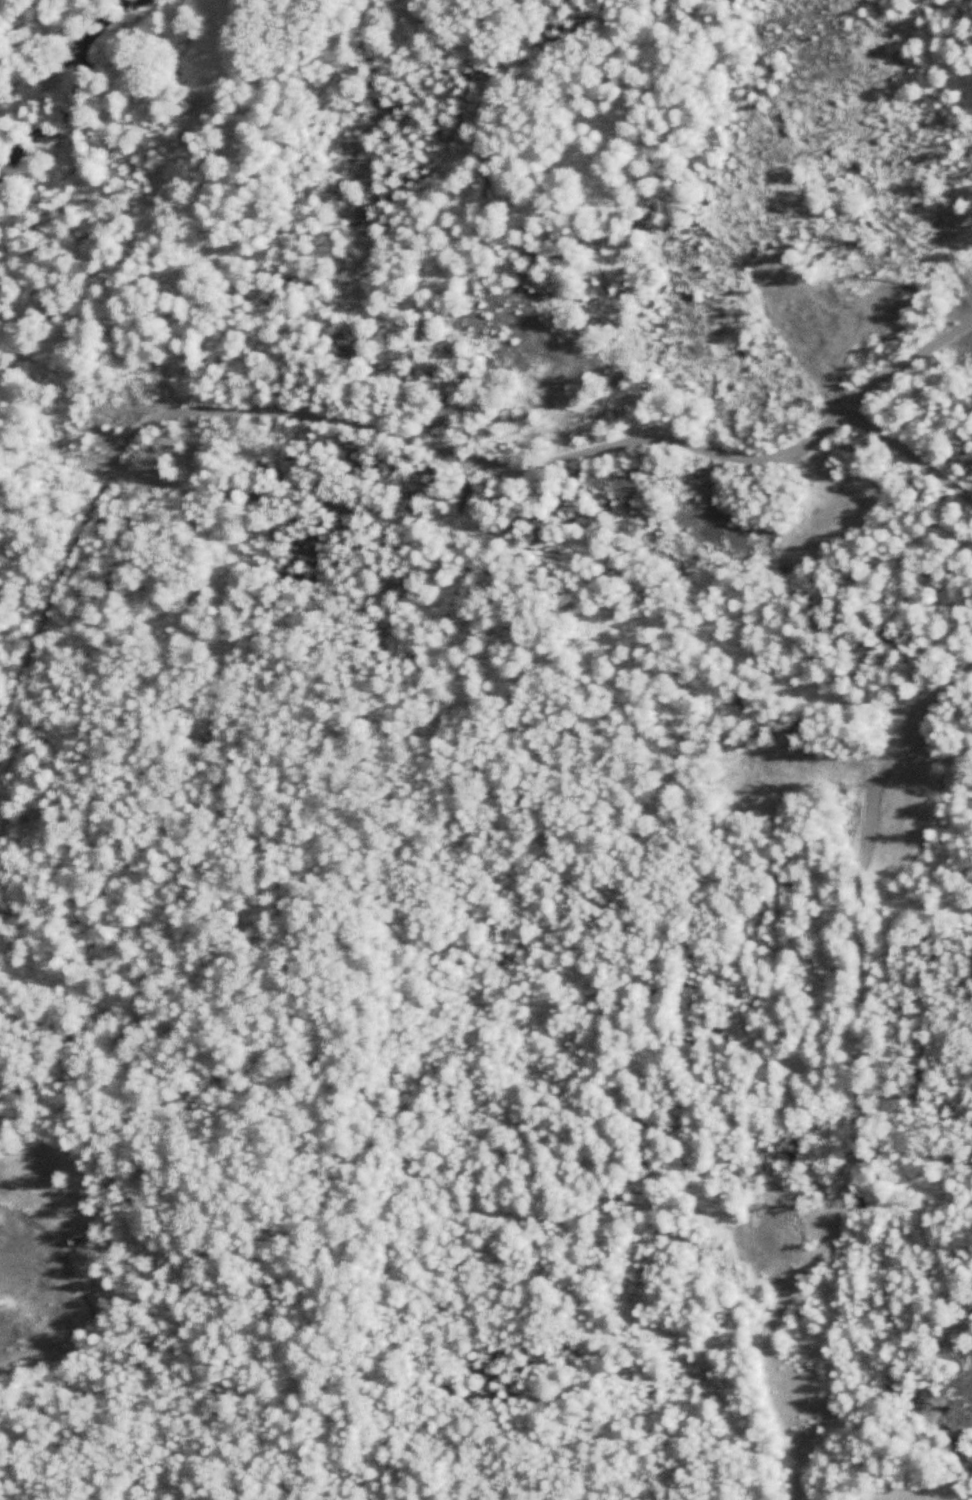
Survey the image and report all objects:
road: (425, 446)

